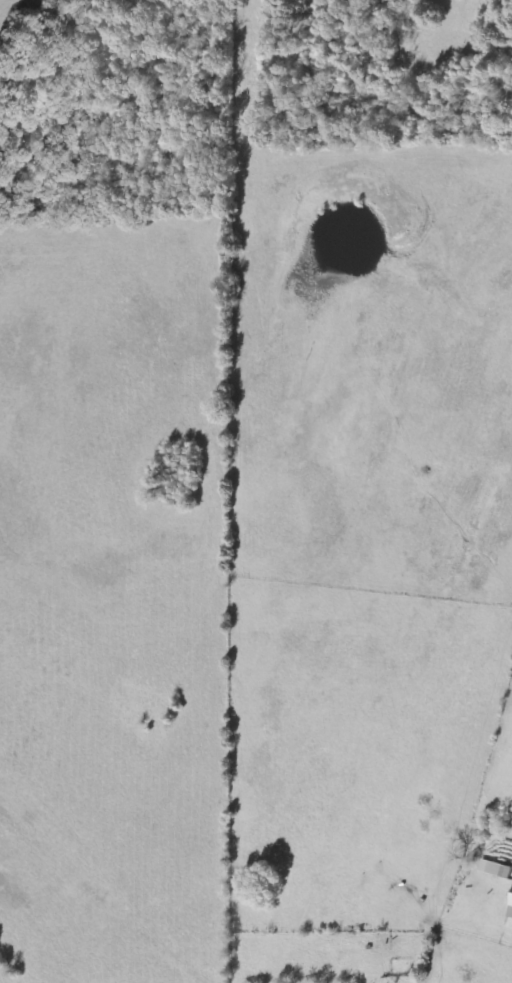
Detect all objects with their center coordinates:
building: (497, 870)
road: (217, 943)

